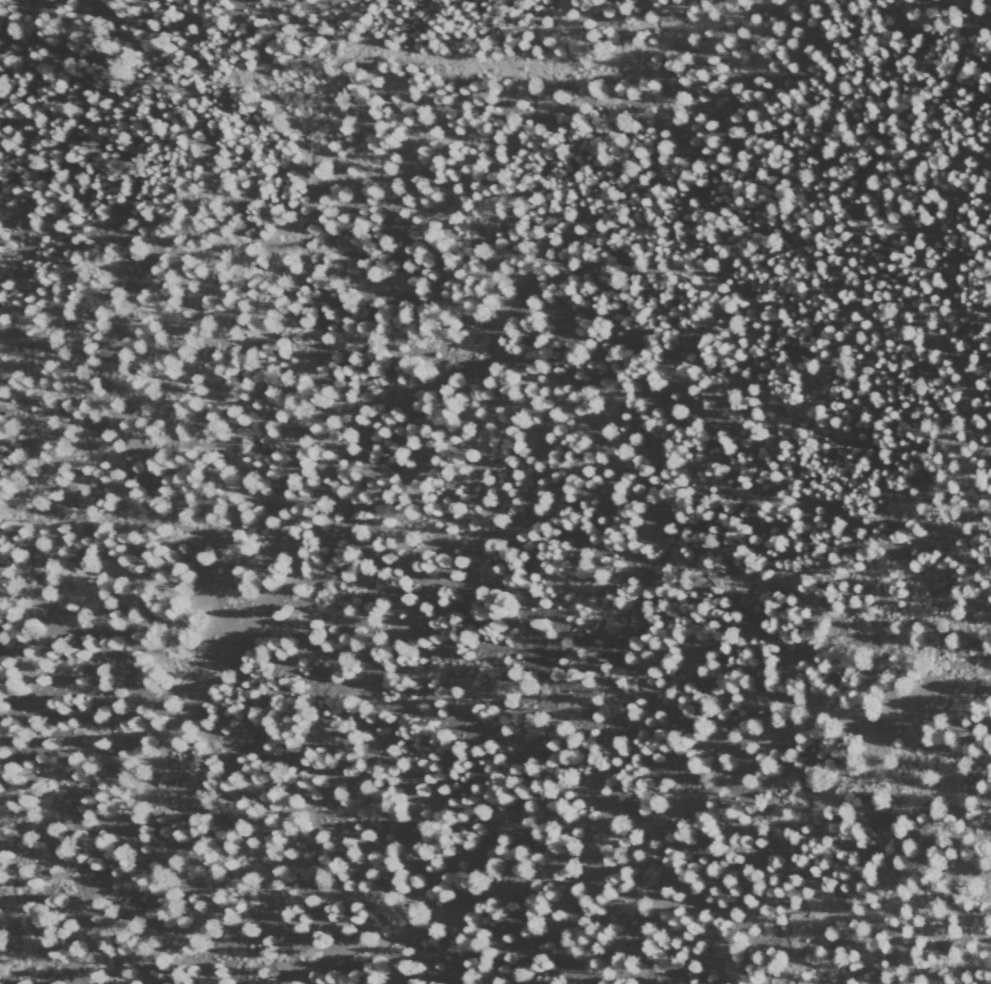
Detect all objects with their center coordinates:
road: (5, 0)
road: (220, 629)
road: (678, 811)
road: (971, 915)

